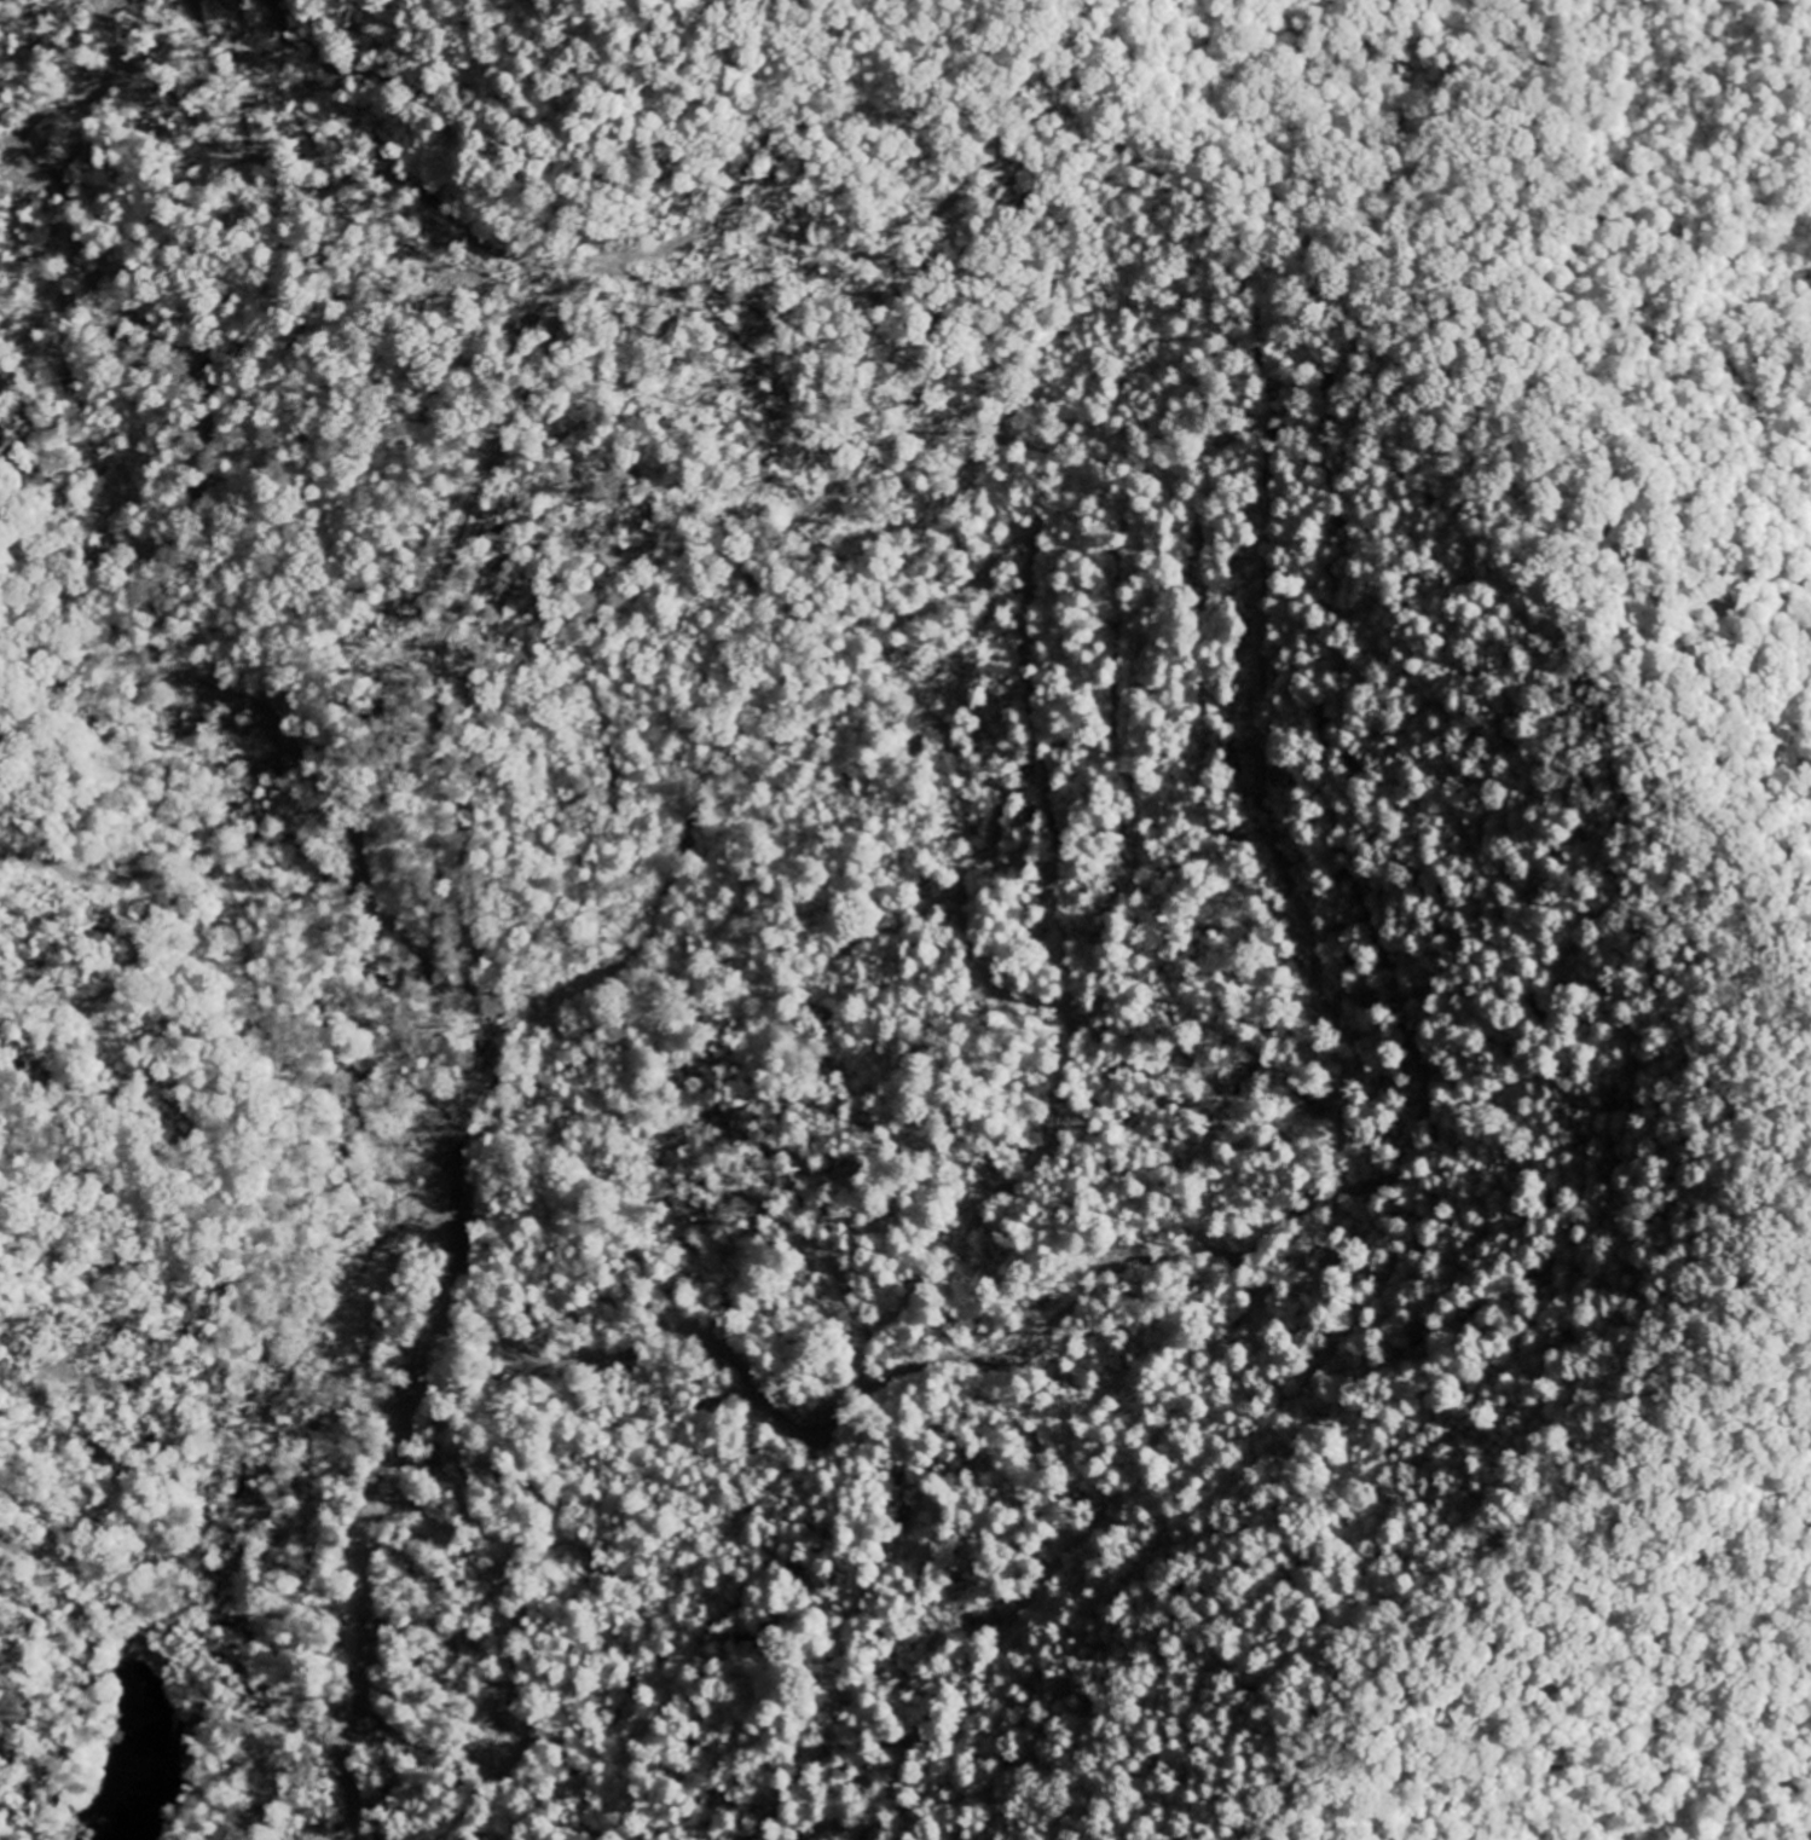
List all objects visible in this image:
road: (704, 540)
road: (272, 1480)

